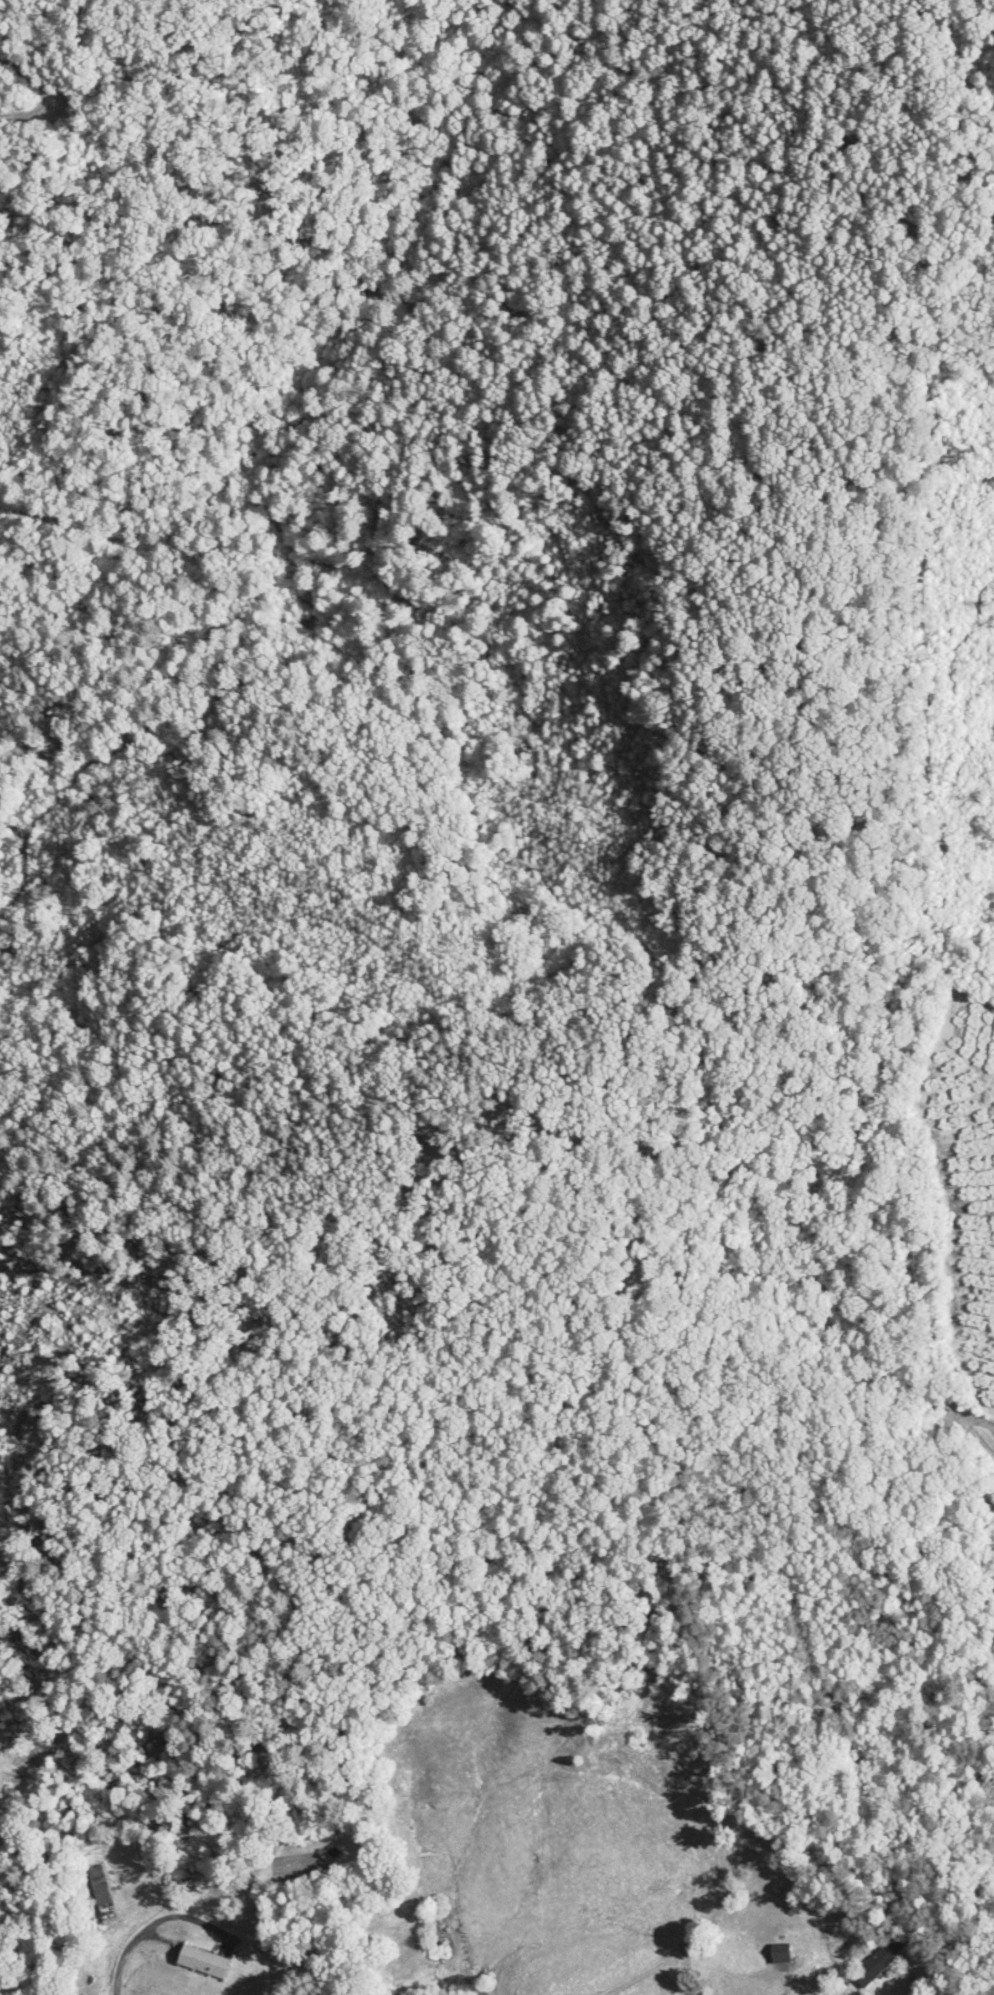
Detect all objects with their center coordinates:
building: (98, 1894)
building: (777, 1952)
road: (121, 1957)
building: (876, 1959)
building: (199, 1960)
road: (912, 1977)

